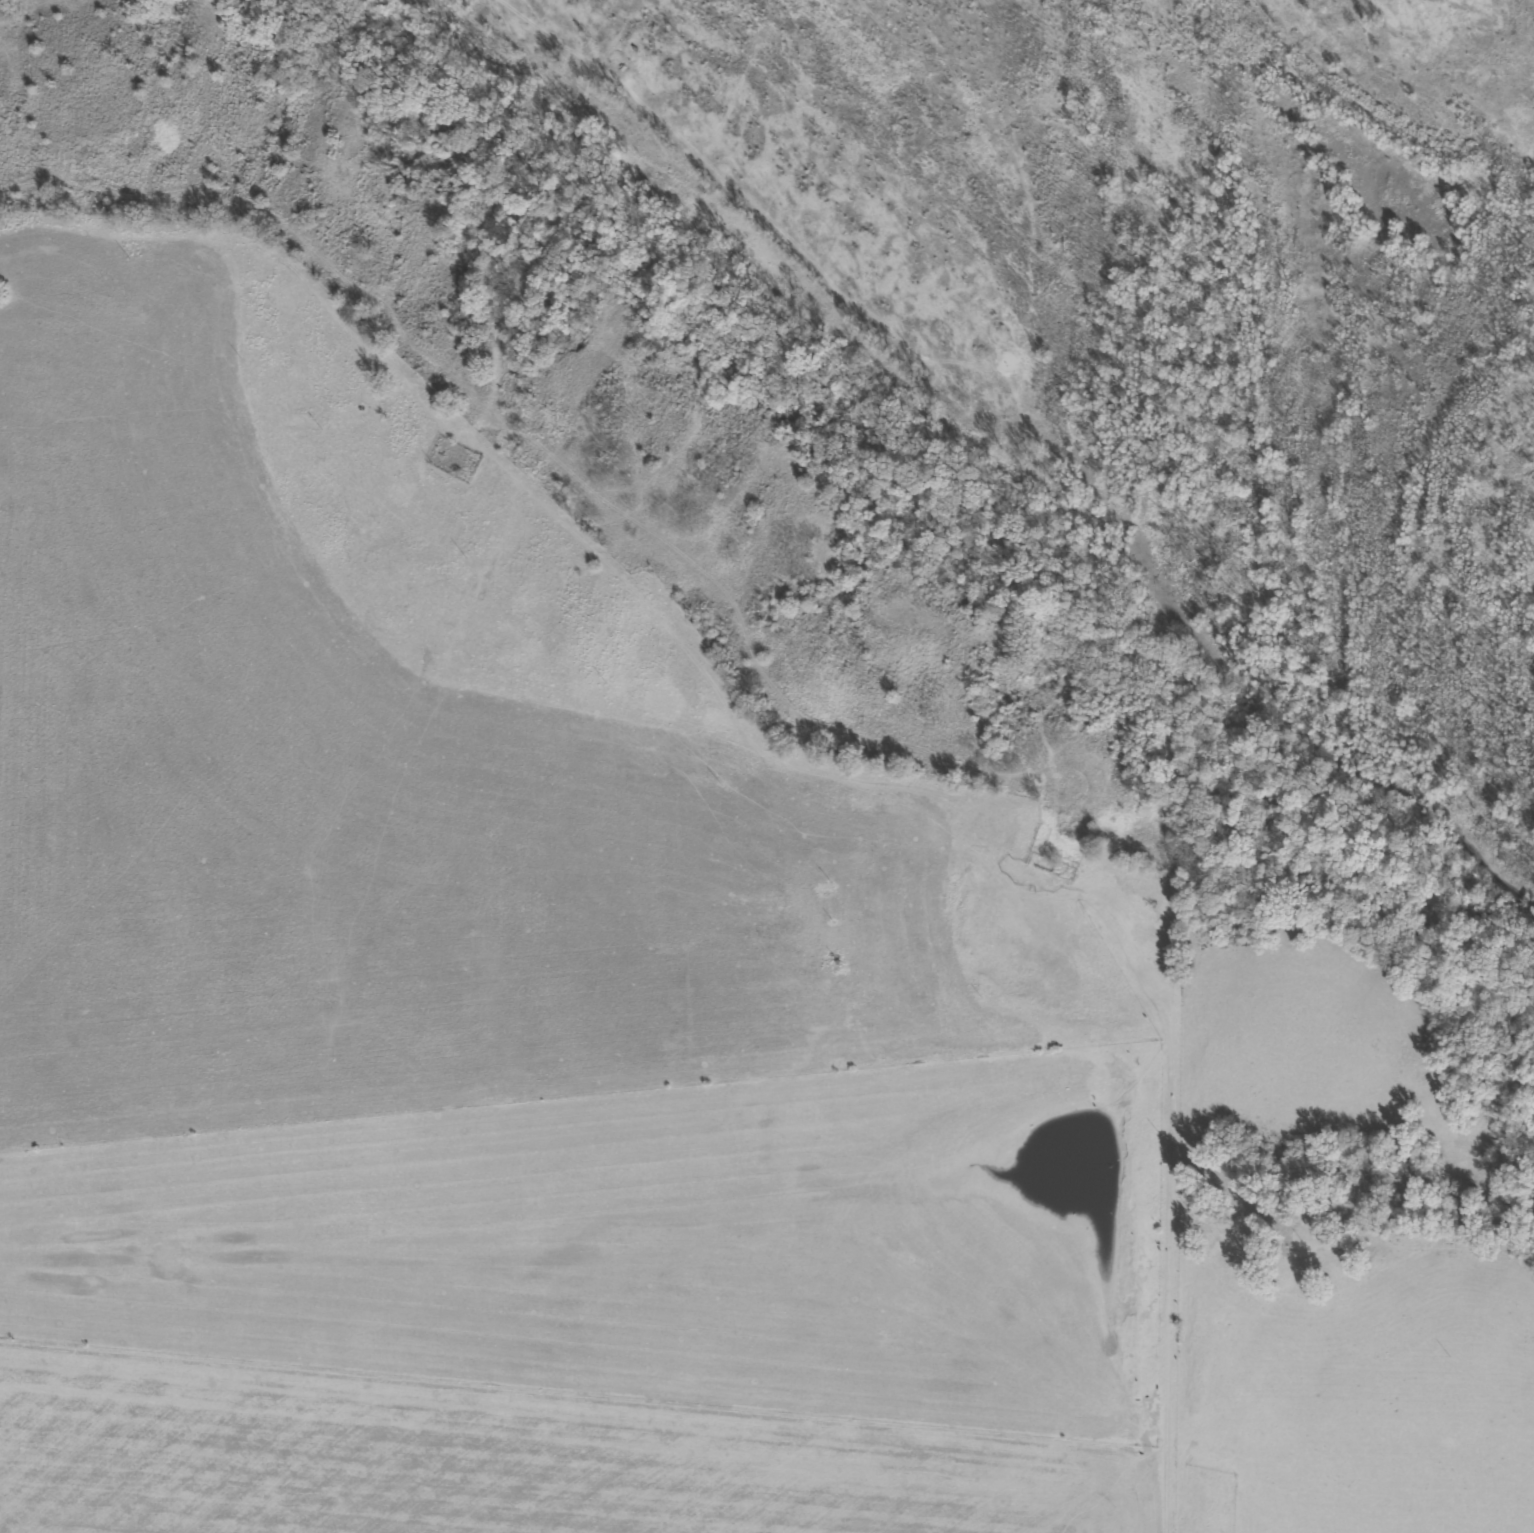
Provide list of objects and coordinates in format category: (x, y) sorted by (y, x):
road: (366, 354)
road: (857, 778)

